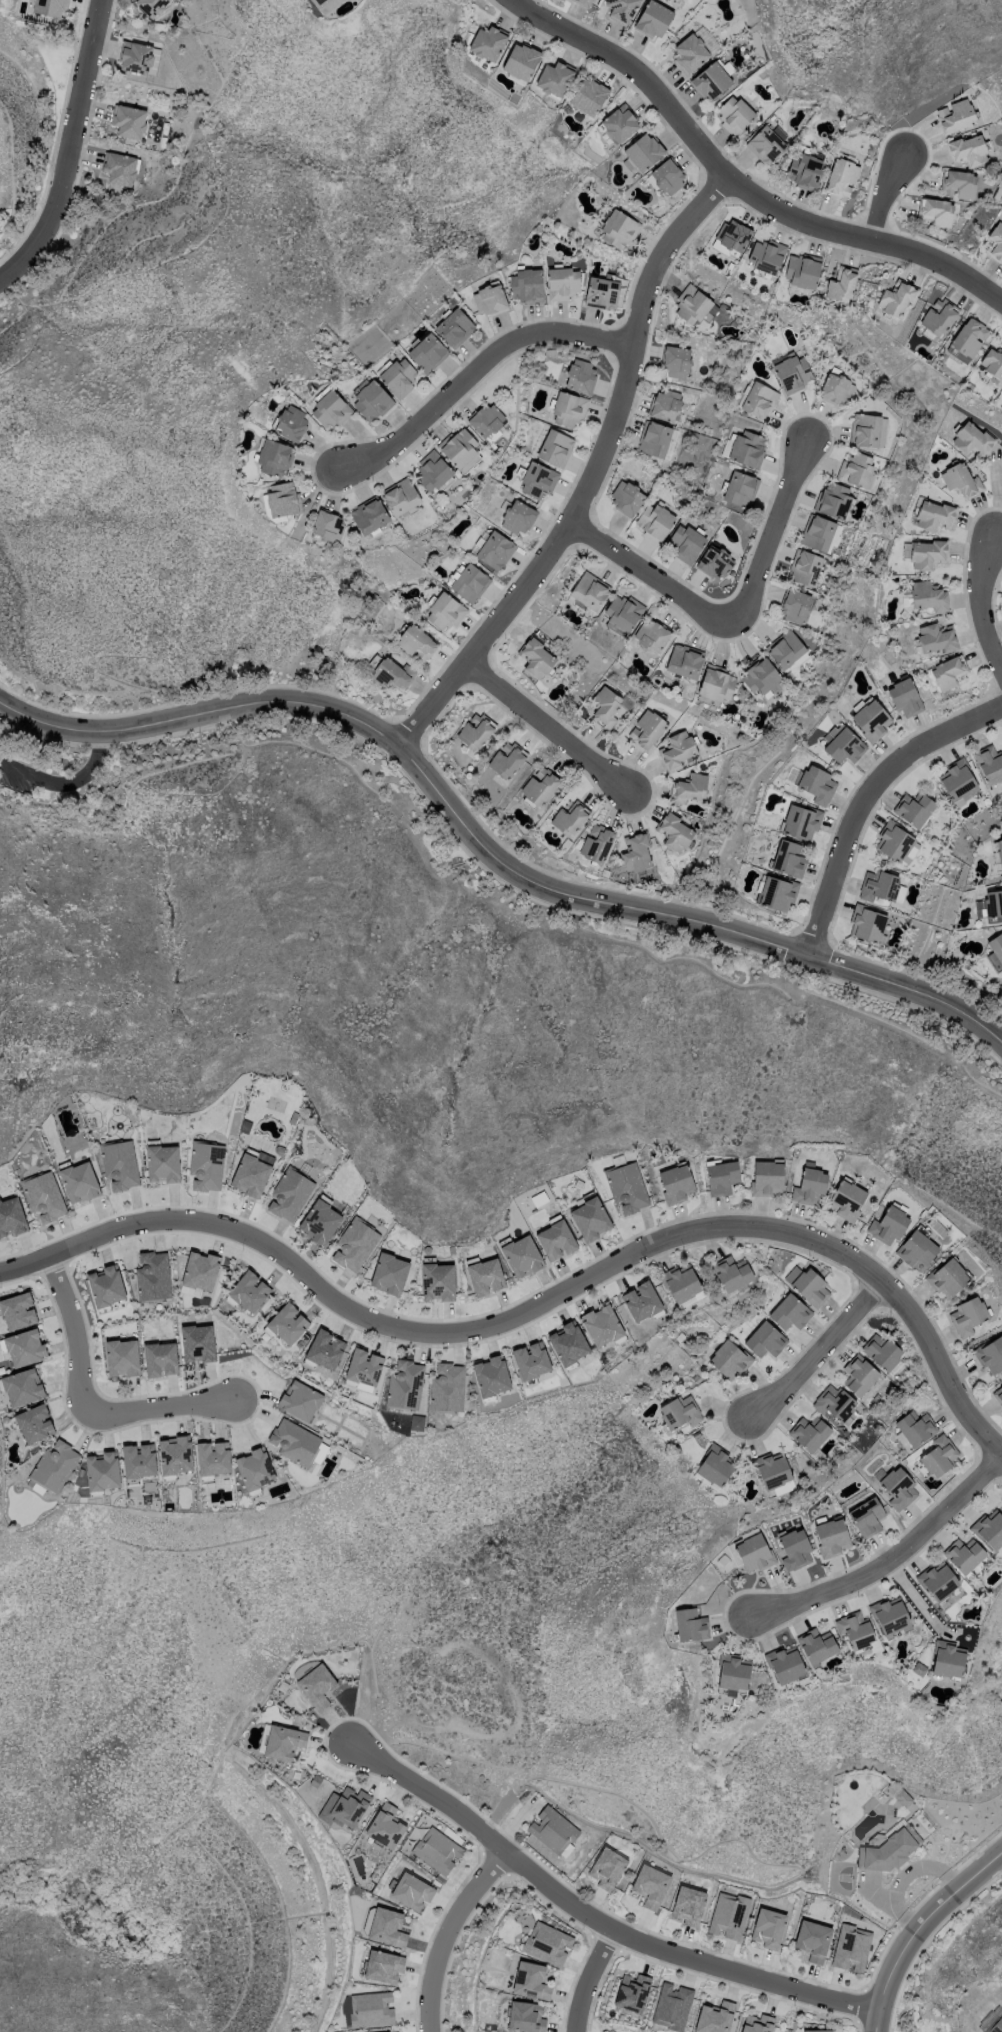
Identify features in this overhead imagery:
building: (583, 2)
building: (320, 3)
building: (152, 6)
building: (51, 7)
building: (622, 10)
building: (654, 20)
building: (488, 43)
building: (691, 53)
building: (137, 57)
building: (521, 62)
building: (555, 79)
building: (712, 81)
building: (589, 96)
building: (735, 115)
building: (955, 115)
building: (129, 121)
building: (620, 123)
building: (766, 145)
road: (71, 150)
building: (967, 150)
building: (644, 152)
building: (120, 168)
building: (805, 171)
building: (668, 178)
building: (842, 179)
building: (959, 184)
road: (734, 185)
road: (885, 200)
building: (936, 212)
building: (618, 230)
building: (734, 237)
building: (996, 242)
building: (767, 254)
building: (802, 272)
building: (564, 284)
building: (527, 286)
building: (842, 286)
building: (603, 293)
building: (490, 300)
building: (897, 300)
building: (692, 305)
building: (939, 317)
building: (454, 329)
building: (969, 338)
building: (428, 354)
building: (676, 363)
building: (993, 363)
road: (477, 372)
building: (794, 374)
building: (580, 376)
building: (399, 379)
building: (836, 390)
building: (759, 401)
building: (371, 402)
building: (665, 406)
building: (330, 410)
building: (569, 411)
building: (487, 420)
building: (291, 423)
building: (868, 430)
building: (972, 439)
building: (654, 440)
building: (460, 448)
building: (556, 449)
building: (747, 449)
building: (273, 457)
building: (857, 469)
building: (432, 472)
road: (593, 477)
building: (961, 480)
building: (538, 481)
building: (740, 489)
building: (401, 498)
building: (626, 499)
building: (283, 500)
building: (834, 502)
building: (934, 516)
building: (370, 517)
building: (518, 519)
building: (657, 522)
building: (329, 527)
building: (818, 534)
building: (687, 543)
building: (494, 550)
building: (926, 555)
building: (716, 563)
building: (805, 569)
building: (470, 584)
building: (590, 591)
building: (929, 596)
building: (906, 601)
road: (981, 605)
building: (796, 607)
building: (446, 613)
building: (625, 613)
road: (734, 615)
building: (652, 635)
building: (935, 638)
building: (417, 644)
building: (787, 651)
building: (537, 658)
building: (684, 662)
building: (949, 672)
building: (393, 675)
building: (760, 676)
building: (717, 685)
building: (905, 698)
building: (607, 707)
building: (871, 719)
road: (550, 728)
building: (646, 730)
building: (476, 733)
building: (844, 746)
building: (678, 751)
building: (507, 761)
building: (990, 763)
road: (66, 780)
building: (958, 781)
building: (817, 785)
building: (539, 787)
building: (690, 789)
road: (867, 801)
building: (914, 809)
building: (571, 817)
building: (800, 823)
building: (675, 832)
building: (894, 842)
building: (597, 843)
road: (488, 848)
building: (637, 852)
building: (999, 854)
building: (789, 859)
building: (880, 887)
building: (777, 894)
building: (990, 905)
building: (867, 924)
building: (996, 947)
building: (162, 1163)
building: (119, 1164)
building: (206, 1166)
building: (252, 1172)
building: (722, 1177)
building: (768, 1178)
building: (79, 1182)
building: (675, 1184)
building: (810, 1185)
building: (625, 1187)
building: (289, 1194)
building: (43, 1196)
building: (847, 1200)
building: (11, 1217)
building: (588, 1219)
building: (319, 1220)
building: (890, 1225)
building: (552, 1240)
building: (354, 1245)
building: (919, 1251)
building: (521, 1256)
building: (200, 1271)
building: (389, 1274)
building: (732, 1274)
building: (152, 1276)
building: (485, 1277)
building: (949, 1279)
building: (436, 1280)
building: (679, 1283)
building: (105, 1286)
building: (812, 1288)
building: (249, 1291)
road: (538, 1297)
building: (639, 1303)
building: (17, 1310)
building: (790, 1313)
building: (969, 1317)
building: (287, 1324)
building: (599, 1326)
building: (765, 1340)
building: (197, 1343)
building: (566, 1346)
building: (24, 1347)
building: (324, 1349)
road: (819, 1349)
building: (882, 1354)
building: (122, 1357)
building: (991, 1357)
building: (160, 1359)
building: (530, 1360)
building: (727, 1363)
building: (363, 1369)
building: (491, 1376)
building: (860, 1377)
building: (405, 1385)
building: (22, 1387)
building: (447, 1388)
building: (999, 1396)
building: (299, 1401)
building: (835, 1403)
road: (88, 1404)
building: (678, 1413)
building: (416, 1422)
building: (34, 1423)
building: (916, 1428)
building: (809, 1435)
building: (294, 1442)
building: (175, 1455)
building: (213, 1458)
building: (939, 1458)
building: (138, 1460)
building: (54, 1466)
building: (714, 1468)
building: (254, 1469)
building: (102, 1471)
building: (771, 1472)
building: (898, 1491)
building: (865, 1519)
building: (991, 1530)
building: (830, 1539)
building: (792, 1551)
building: (964, 1555)
building: (752, 1556)
road: (892, 1557)
building: (939, 1582)
building: (890, 1619)
building: (688, 1628)
building: (854, 1633)
building: (815, 1647)
building: (947, 1662)
building: (784, 1667)
building: (919, 1671)
building: (731, 1676)
building: (316, 1686)
building: (283, 1742)
building: (347, 1806)
building: (385, 1826)
building: (552, 1829)
building: (888, 1850)
building: (437, 1851)
building: (605, 1867)
building: (650, 1886)
building: (411, 1891)
building: (688, 1905)
road: (587, 1911)
building: (728, 1915)
building: (387, 1928)
building: (767, 1928)
road: (917, 1929)
road: (448, 1934)
building: (812, 1940)
building: (547, 1943)
building: (851, 1948)
building: (382, 1966)
road: (589, 1978)
building: (530, 1981)
building: (632, 1992)
building: (671, 2006)
building: (371, 2009)
building: (525, 2017)
building: (714, 2017)
building: (992, 2021)
building: (756, 2023)

